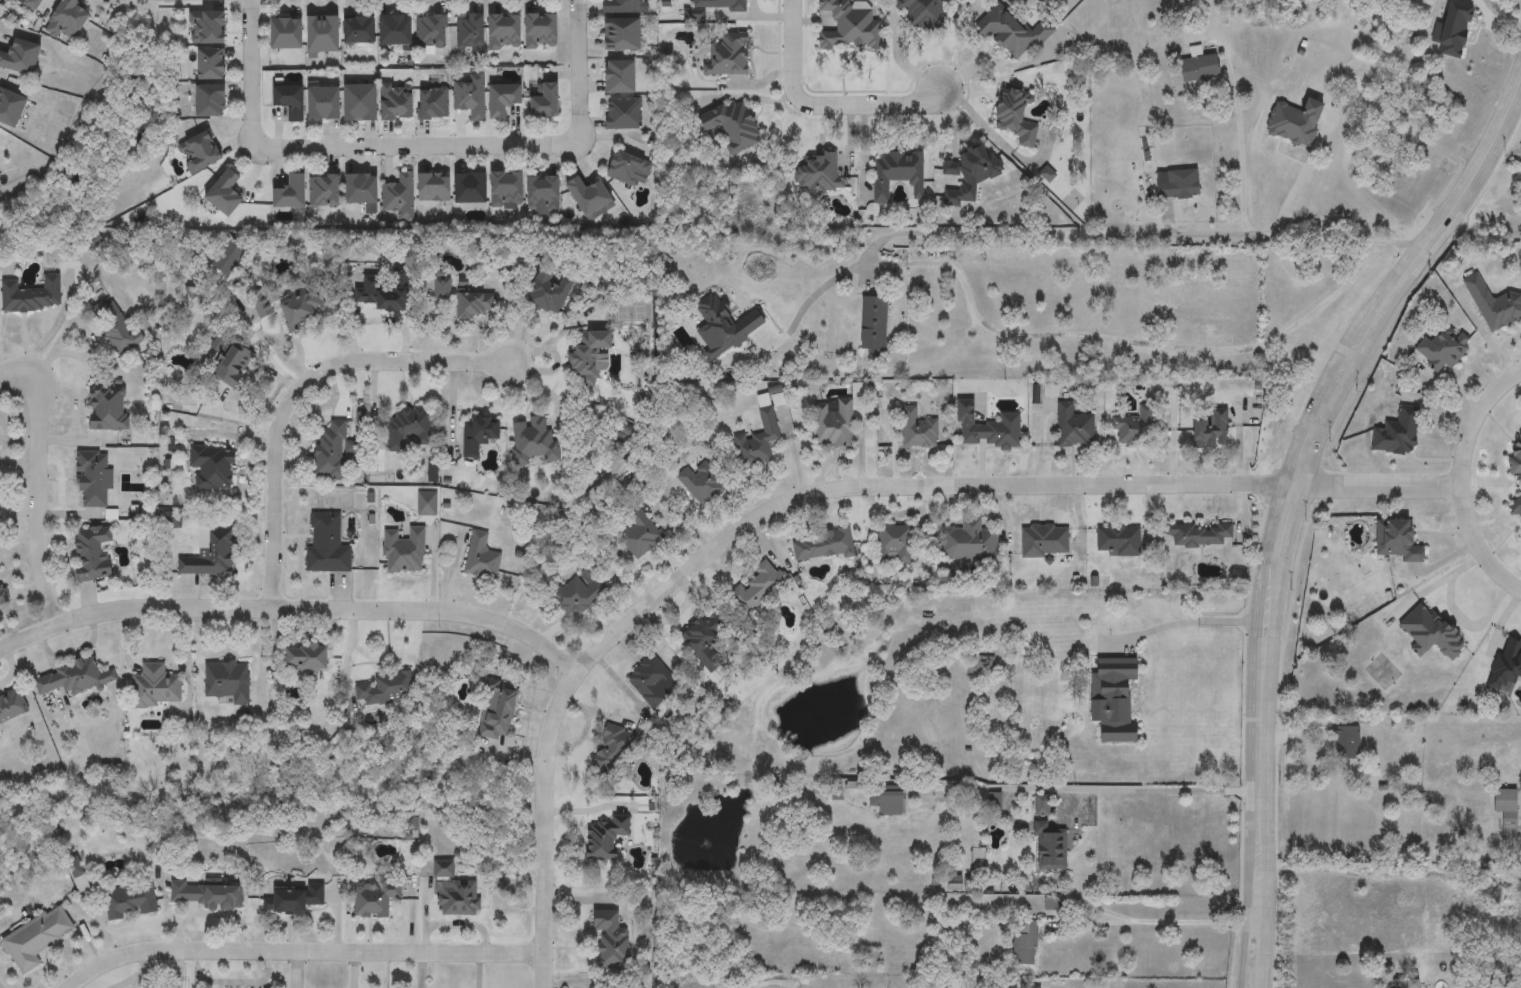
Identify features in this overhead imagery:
building: (33, 3)
building: (721, 5)
building: (69, 19)
building: (624, 24)
building: (850, 26)
building: (208, 27)
building: (360, 30)
building: (396, 30)
building: (431, 31)
building: (506, 31)
building: (542, 31)
building: (1013, 31)
building: (287, 33)
building: (472, 33)
building: (323, 34)
building: (729, 55)
road: (896, 55)
building: (21, 57)
road: (1002, 62)
building: (213, 64)
building: (1201, 69)
road: (251, 71)
road: (577, 74)
building: (622, 77)
building: (471, 99)
building: (505, 99)
building: (546, 100)
building: (212, 101)
building: (290, 101)
building: (398, 102)
building: (361, 103)
building: (434, 103)
building: (324, 104)
road: (819, 104)
building: (12, 107)
building: (623, 113)
building: (1017, 116)
building: (1296, 122)
road: (952, 123)
building: (734, 126)
road: (1238, 126)
road: (988, 128)
road: (410, 147)
building: (201, 152)
building: (0, 154)
building: (629, 169)
road: (1301, 172)
building: (898, 173)
building: (819, 174)
building: (969, 175)
building: (1180, 184)
building: (434, 187)
building: (471, 188)
building: (362, 189)
building: (507, 190)
building: (324, 191)
building: (226, 193)
building: (291, 193)
building: (399, 194)
building: (544, 194)
building: (590, 195)
road: (1071, 235)
building: (444, 285)
building: (385, 291)
building: (549, 292)
building: (32, 295)
building: (1493, 303)
building: (477, 304)
building: (301, 308)
building: (115, 327)
road: (1123, 341)
building: (1441, 344)
building: (591, 352)
building: (234, 365)
road: (302, 392)
building: (108, 406)
road: (1309, 410)
building: (833, 424)
building: (1075, 426)
building: (1136, 427)
road: (1475, 427)
building: (407, 428)
building: (987, 428)
building: (1212, 429)
building: (918, 430)
building: (1396, 431)
building: (479, 434)
building: (533, 441)
building: (758, 442)
building: (1514, 450)
building: (331, 451)
building: (213, 468)
building: (93, 480)
building: (703, 483)
road: (40, 486)
road: (1376, 490)
building: (1515, 506)
road: (748, 527)
building: (640, 533)
building: (1201, 534)
building: (1395, 538)
building: (969, 541)
building: (1045, 541)
building: (1119, 541)
building: (896, 544)
building: (326, 545)
building: (823, 545)
road: (1484, 545)
building: (404, 551)
building: (93, 553)
building: (211, 555)
building: (481, 557)
building: (758, 588)
building: (579, 594)
building: (3, 596)
road: (293, 608)
road: (1184, 621)
building: (1429, 629)
building: (705, 639)
building: (307, 658)
building: (1505, 662)
building: (981, 666)
building: (74, 678)
building: (651, 680)
building: (228, 681)
building: (155, 687)
building: (384, 690)
building: (1050, 692)
building: (1116, 704)
building: (11, 706)
building: (498, 713)
building: (1345, 744)
building: (614, 754)
road: (1159, 790)
building: (888, 800)
building: (994, 802)
building: (1506, 815)
building: (606, 839)
building: (1050, 840)
road: (1245, 887)
road: (1268, 887)
building: (208, 895)
building: (458, 898)
building: (292, 899)
building: (372, 901)
building: (130, 903)
road: (1155, 923)
building: (37, 939)
building: (612, 941)
building: (1024, 943)
road: (301, 951)
building: (872, 960)
building: (1509, 983)
building: (1403, 984)

